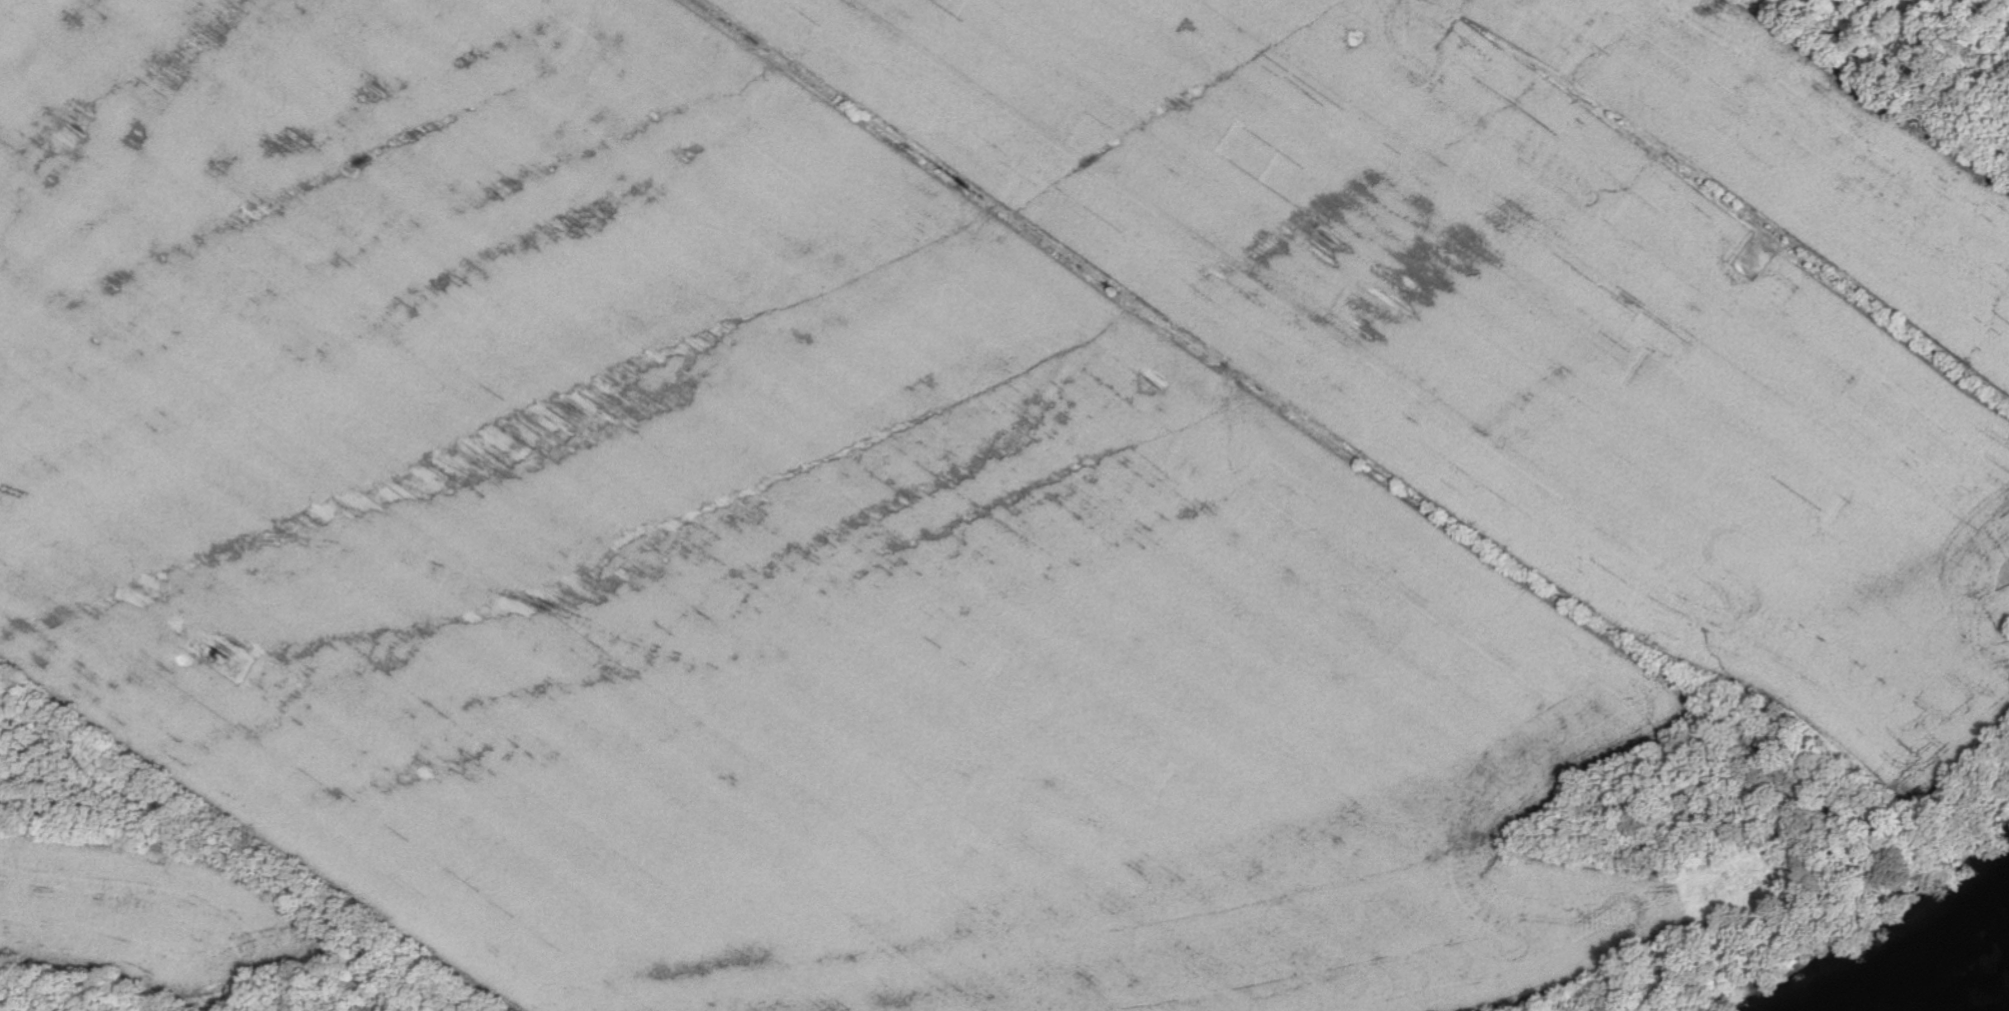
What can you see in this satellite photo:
river: (1972, 987)

